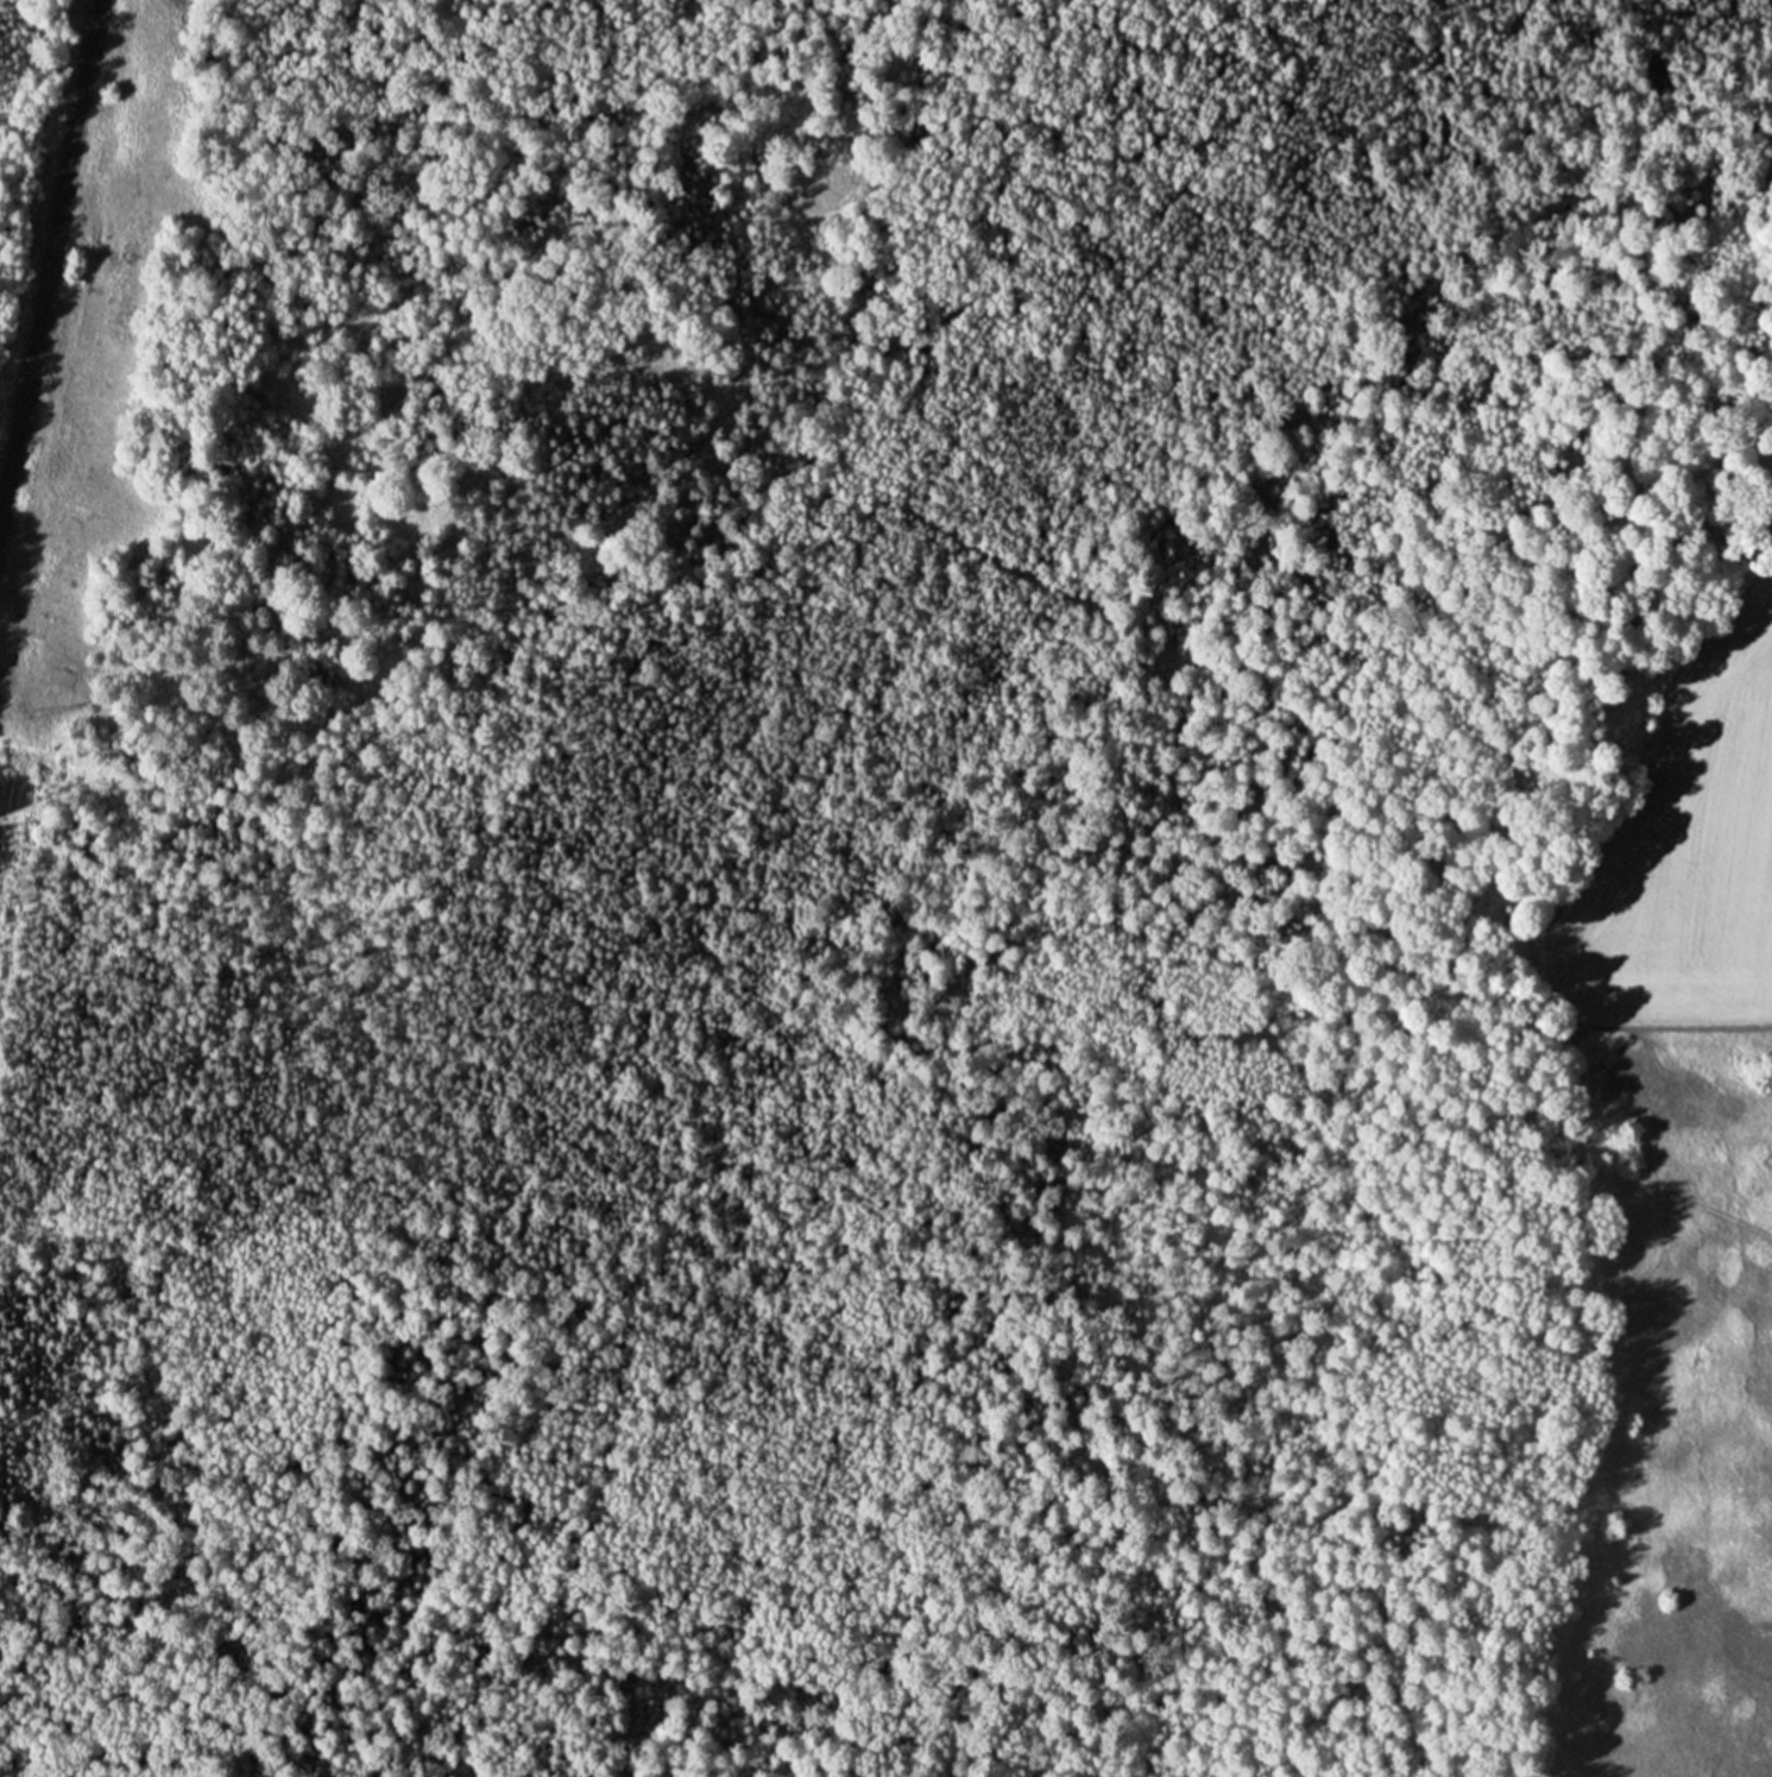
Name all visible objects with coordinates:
power tower: (113, 257)
railway: (48, 259)
power tower: (29, 713)

